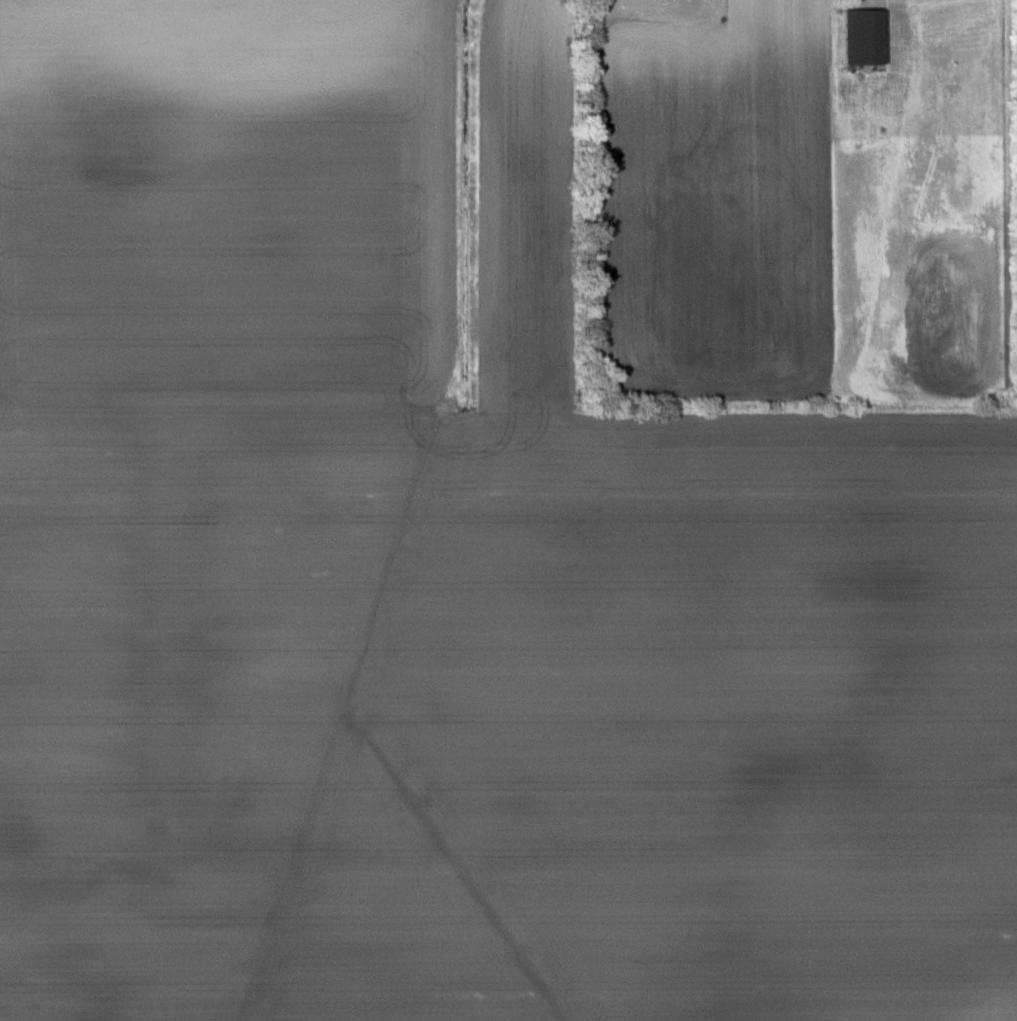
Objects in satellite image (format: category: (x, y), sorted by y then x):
building: (863, 36)

